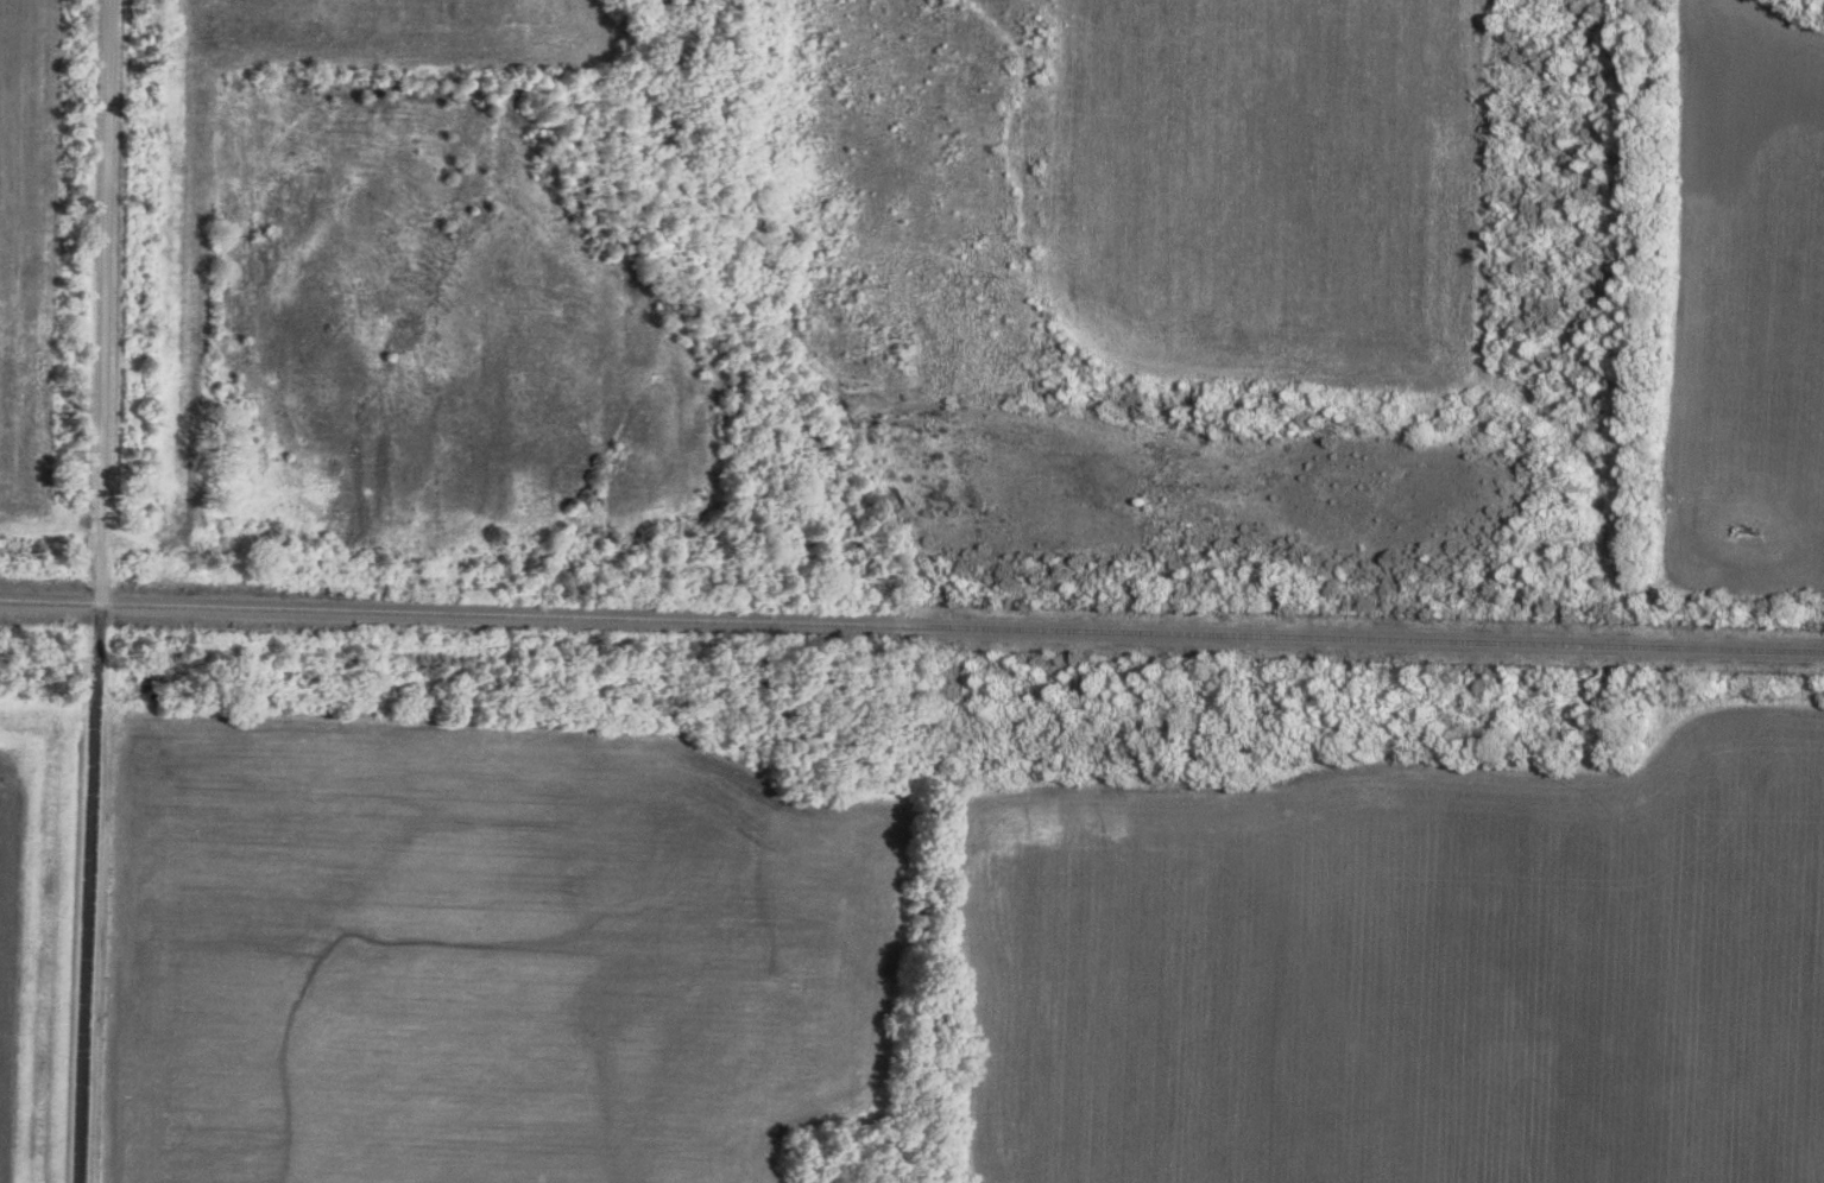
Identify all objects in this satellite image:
road: (100, 591)
railway: (911, 626)

